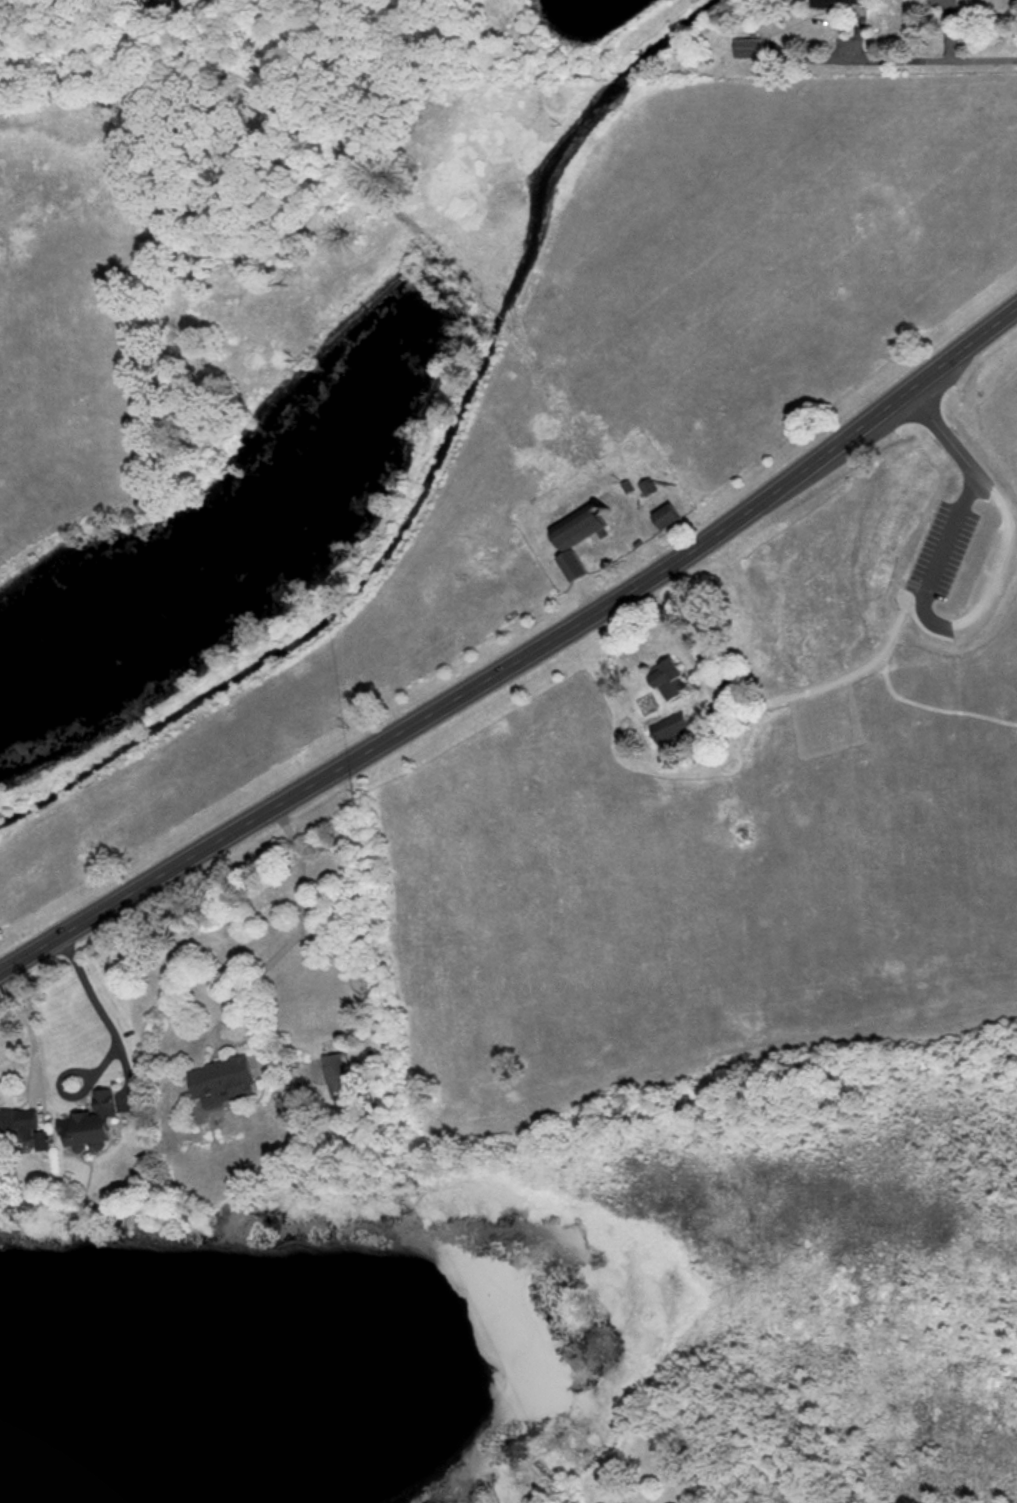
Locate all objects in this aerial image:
building: (839, 2)
road: (945, 31)
building: (748, 47)
road: (972, 61)
building: (626, 486)
building: (648, 487)
building: (665, 516)
building: (576, 529)
building: (636, 543)
parking lot: (942, 545)
building: (571, 566)
park: (545, 567)
road: (986, 589)
road: (521, 660)
building: (668, 680)
building: (731, 688)
building: (671, 727)
road: (261, 966)
road: (97, 1010)
road: (27, 1033)
building: (337, 1073)
building: (221, 1081)
building: (90, 1122)
building: (24, 1129)

